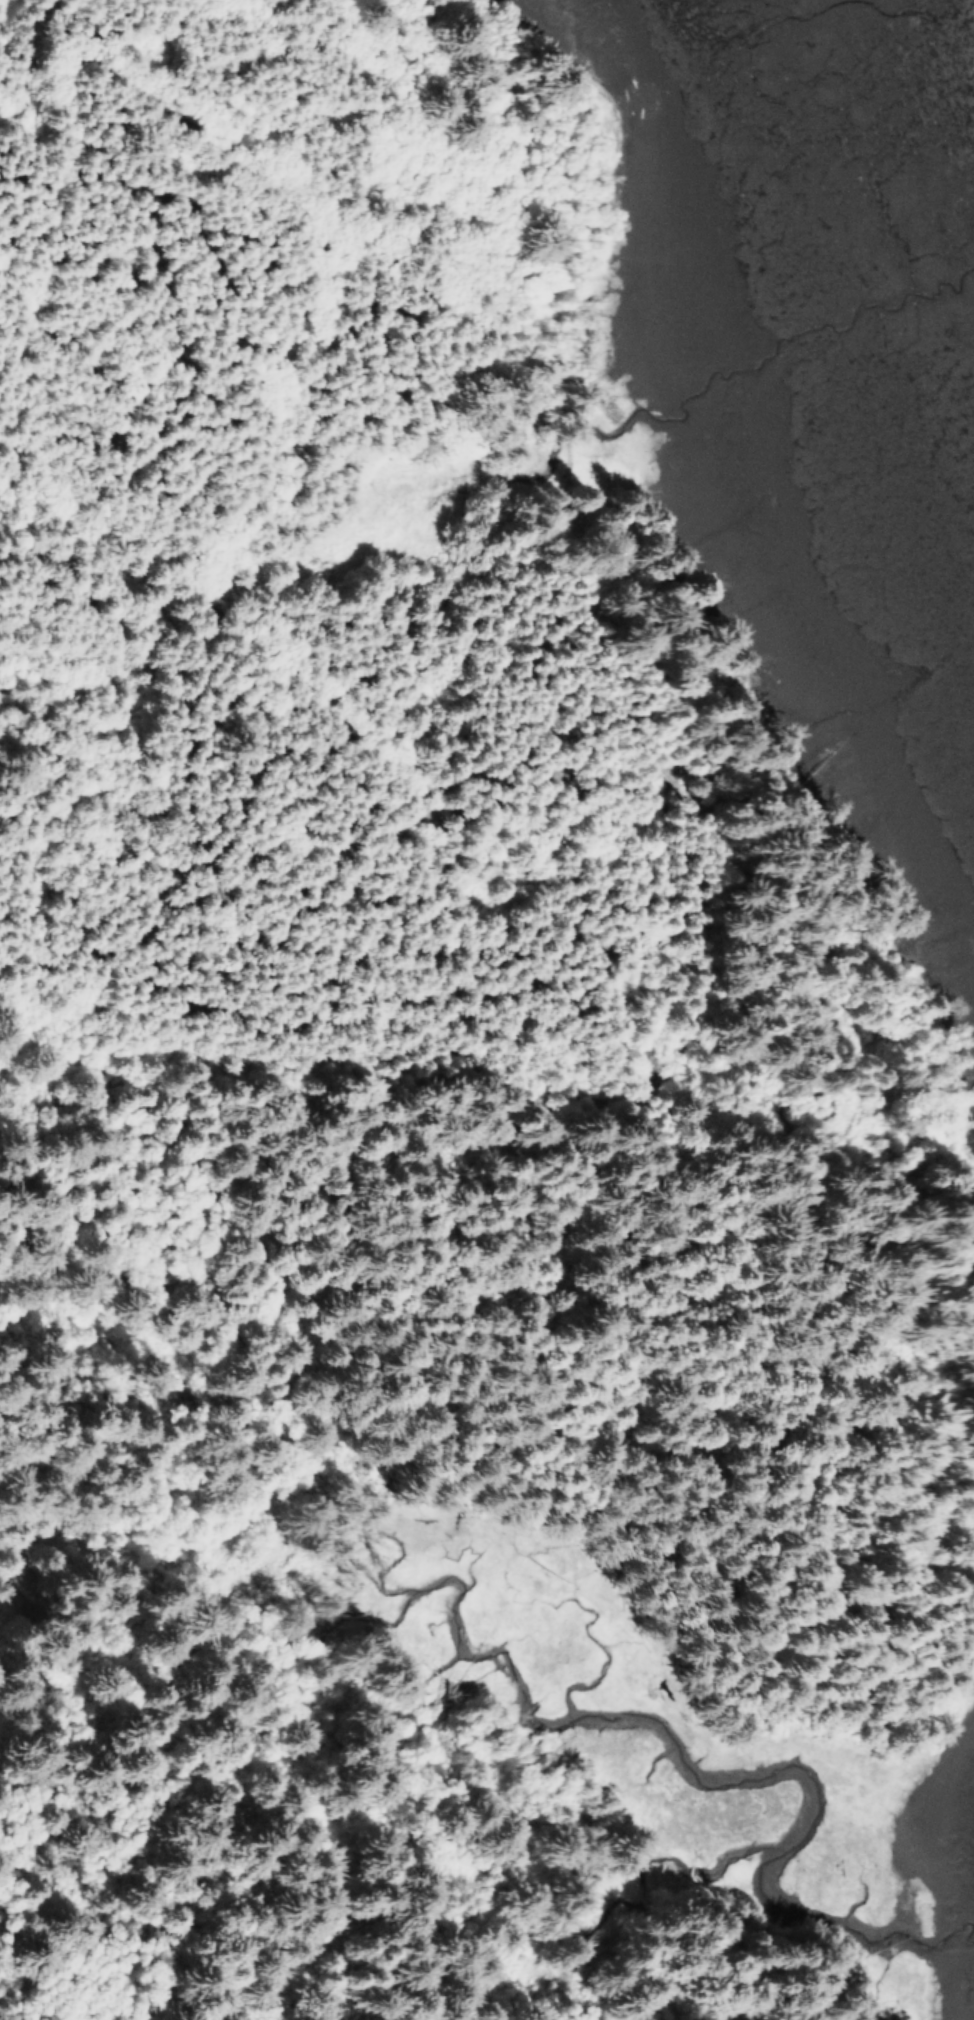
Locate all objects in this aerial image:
road: (222, 581)

